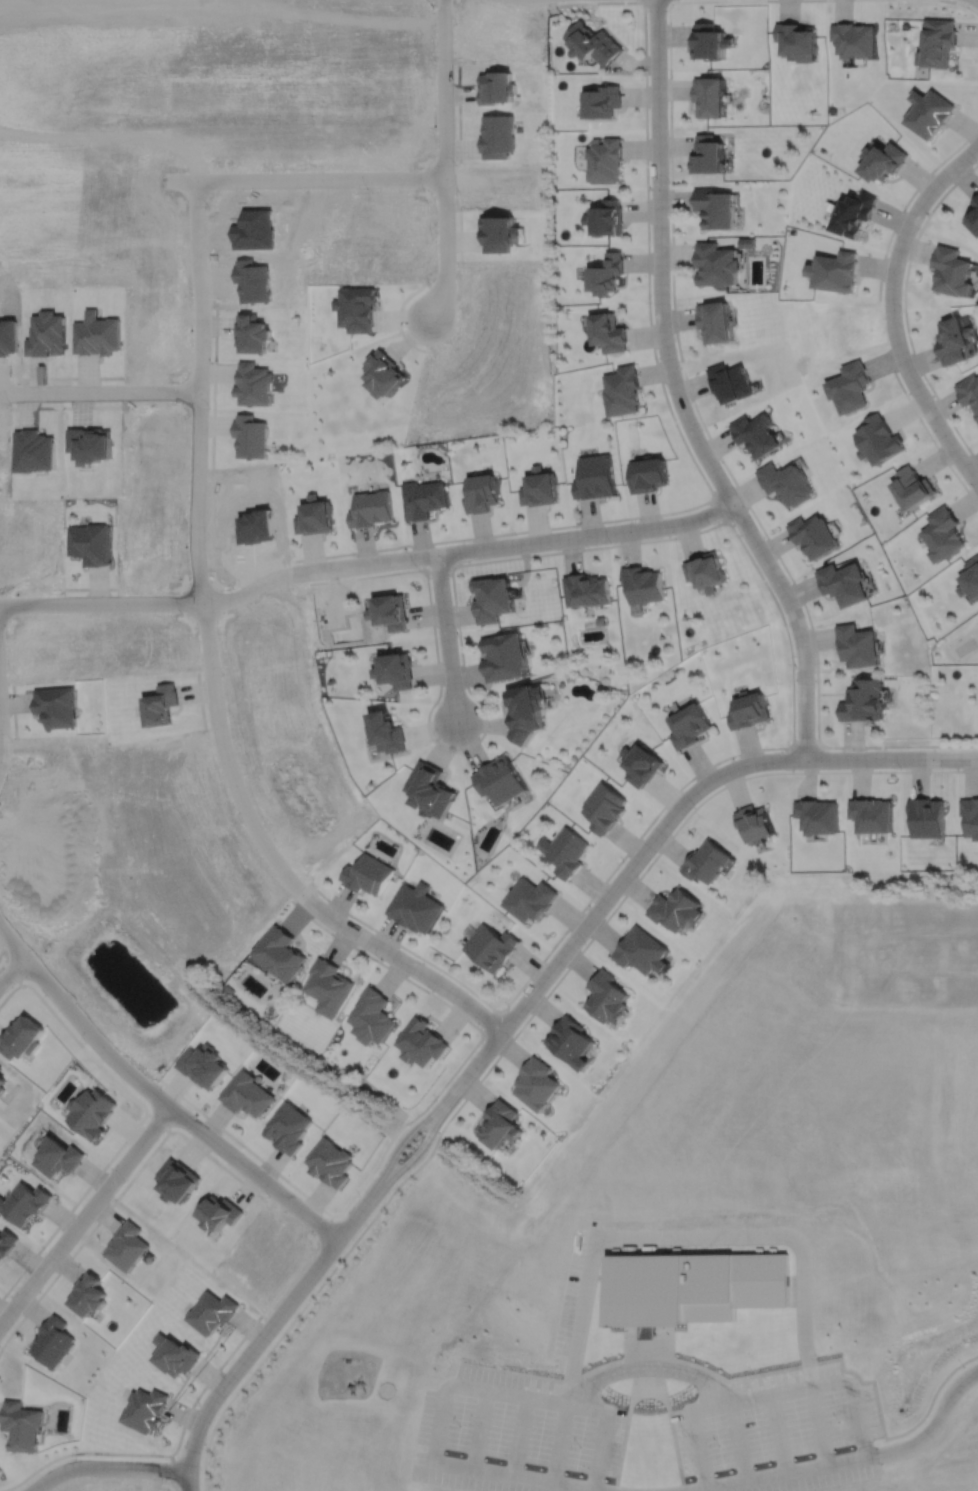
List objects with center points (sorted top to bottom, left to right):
road: (960, 2)
road: (962, 4)
building: (854, 41)
building: (592, 43)
building: (709, 44)
building: (797, 44)
building: (938, 45)
building: (708, 95)
building: (601, 100)
building: (928, 112)
building: (706, 154)
building: (604, 159)
building: (882, 160)
road: (445, 162)
road: (322, 186)
building: (713, 207)
building: (853, 213)
building: (973, 216)
building: (606, 218)
building: (745, 242)
building: (714, 264)
building: (834, 271)
building: (950, 271)
building: (606, 274)
road: (904, 309)
road: (879, 311)
road: (892, 311)
building: (713, 322)
building: (607, 333)
building: (952, 341)
building: (256, 383)
building: (729, 383)
building: (849, 388)
building: (621, 391)
road: (101, 393)
road: (677, 393)
building: (968, 393)
road: (203, 394)
road: (698, 415)
road: (680, 435)
building: (754, 435)
building: (252, 436)
building: (881, 438)
building: (648, 475)
building: (595, 478)
building: (788, 480)
building: (915, 485)
building: (538, 489)
building: (481, 494)
building: (422, 500)
road: (720, 508)
building: (369, 510)
building: (312, 518)
building: (944, 533)
building: (815, 534)
road: (468, 550)
road: (746, 552)
road: (438, 567)
building: (706, 570)
building: (970, 577)
building: (845, 582)
building: (643, 583)
building: (586, 589)
building: (492, 597)
road: (103, 605)
building: (389, 610)
road: (446, 637)
building: (859, 644)
building: (504, 656)
building: (396, 669)
building: (863, 700)
building: (750, 710)
building: (526, 711)
building: (690, 724)
road: (1, 725)
building: (388, 731)
road: (804, 747)
building: (641, 764)
building: (501, 779)
building: (431, 789)
road: (688, 796)
building: (604, 807)
building: (872, 813)
building: (817, 814)
building: (970, 814)
building: (927, 815)
building: (754, 822)
building: (565, 852)
building: (705, 860)
road: (278, 867)
building: (366, 873)
building: (529, 898)
building: (414, 906)
building: (674, 908)
road: (12, 943)
building: (490, 946)
building: (641, 950)
building: (280, 953)
road: (12, 970)
building: (330, 986)
road: (434, 995)
building: (605, 996)
building: (373, 1016)
road: (491, 1023)
road: (521, 1026)
building: (21, 1038)
building: (570, 1041)
building: (422, 1042)
building: (203, 1065)
building: (1, 1068)
road: (469, 1072)
building: (2, 1083)
building: (536, 1083)
building: (246, 1094)
road: (173, 1108)
building: (91, 1112)
building: (499, 1124)
building: (288, 1127)
road: (401, 1142)
road: (416, 1154)
building: (57, 1157)
road: (101, 1168)
building: (24, 1203)
road: (359, 1211)
building: (219, 1213)
road: (84, 1214)
road: (686, 1234)
building: (6, 1243)
building: (126, 1246)
road: (57, 1272)
road: (596, 1277)
building: (690, 1288)
building: (87, 1295)
building: (211, 1313)
building: (52, 1343)
road: (647, 1348)
building: (174, 1356)
road: (245, 1356)
road: (648, 1367)
road: (762, 1373)
road: (526, 1395)
road: (770, 1395)
building: (144, 1410)
road: (669, 1419)
road: (627, 1420)
road: (819, 1425)
building: (21, 1427)
road: (481, 1429)
road: (779, 1433)
parking lot: (780, 1433)
parking lot: (516, 1434)
road: (519, 1436)
road: (164, 1454)
road: (850, 1460)
road: (107, 1467)
road: (514, 1476)

